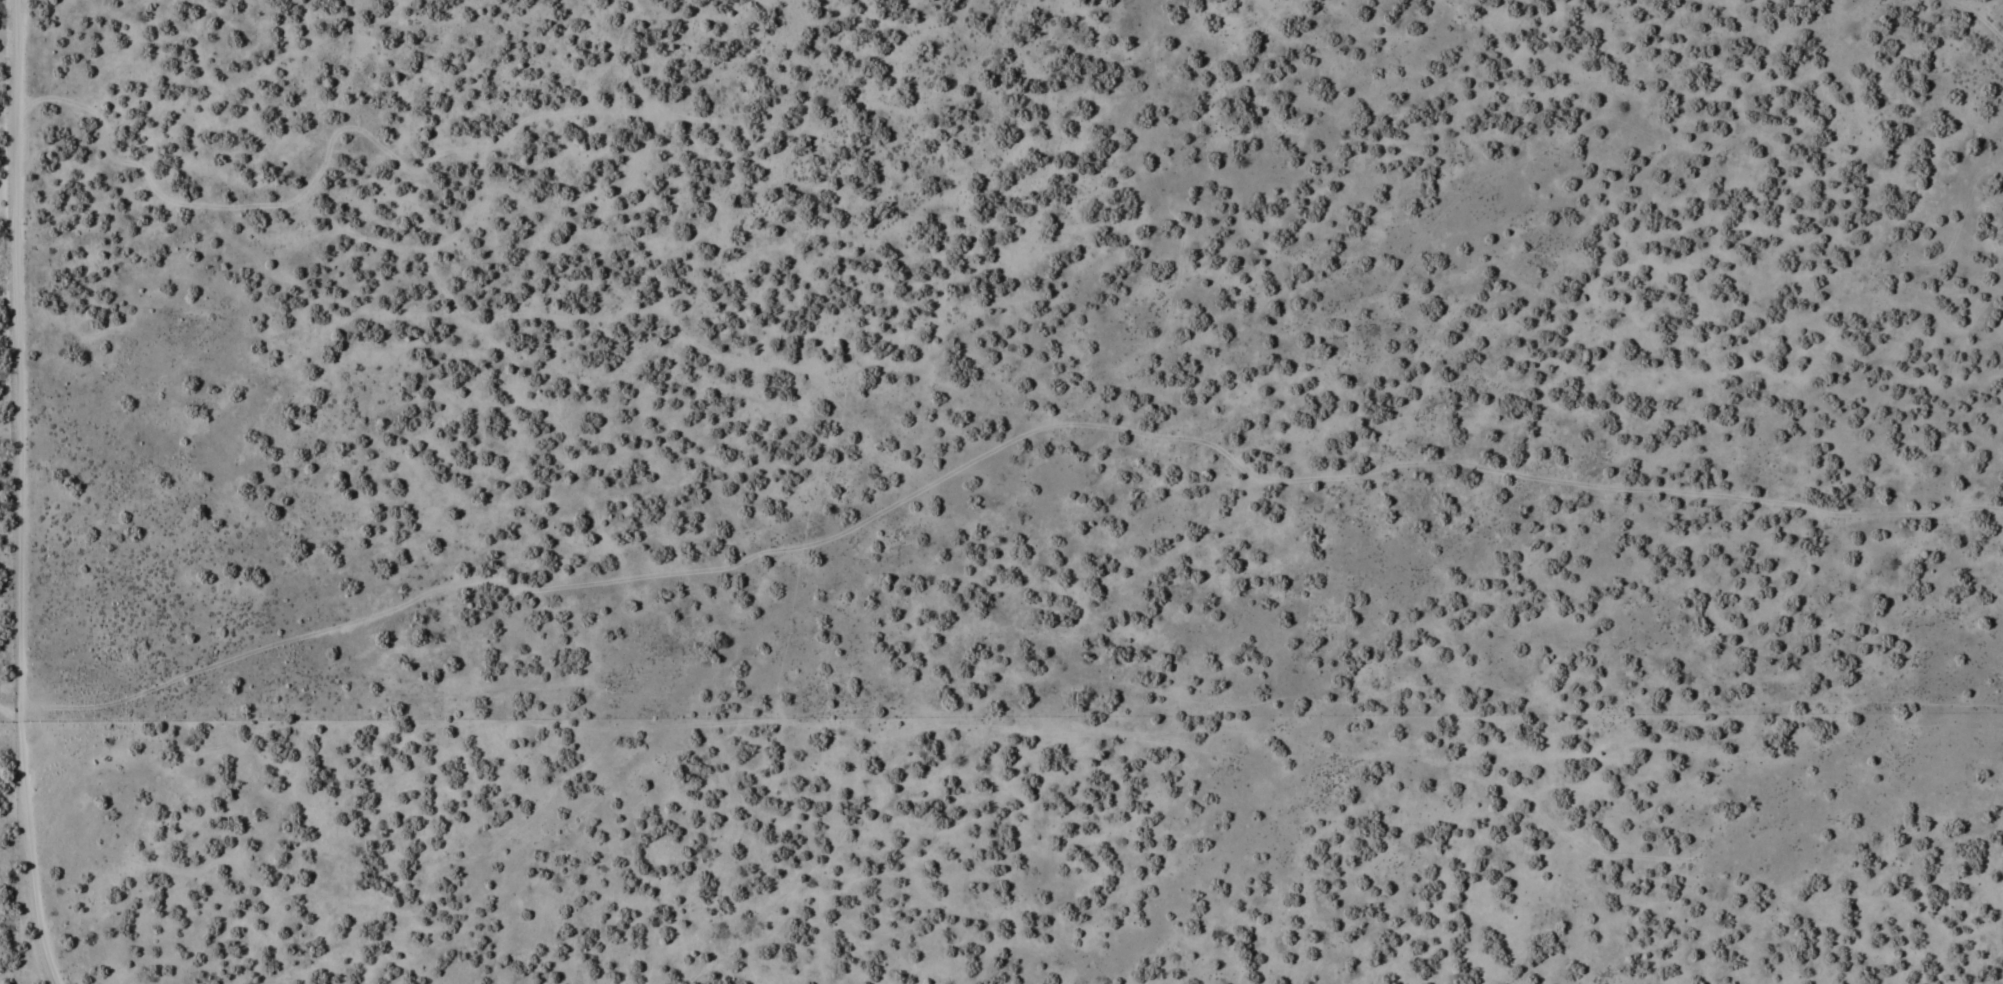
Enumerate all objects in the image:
road: (1977, 23)
road: (999, 445)
road: (17, 494)

